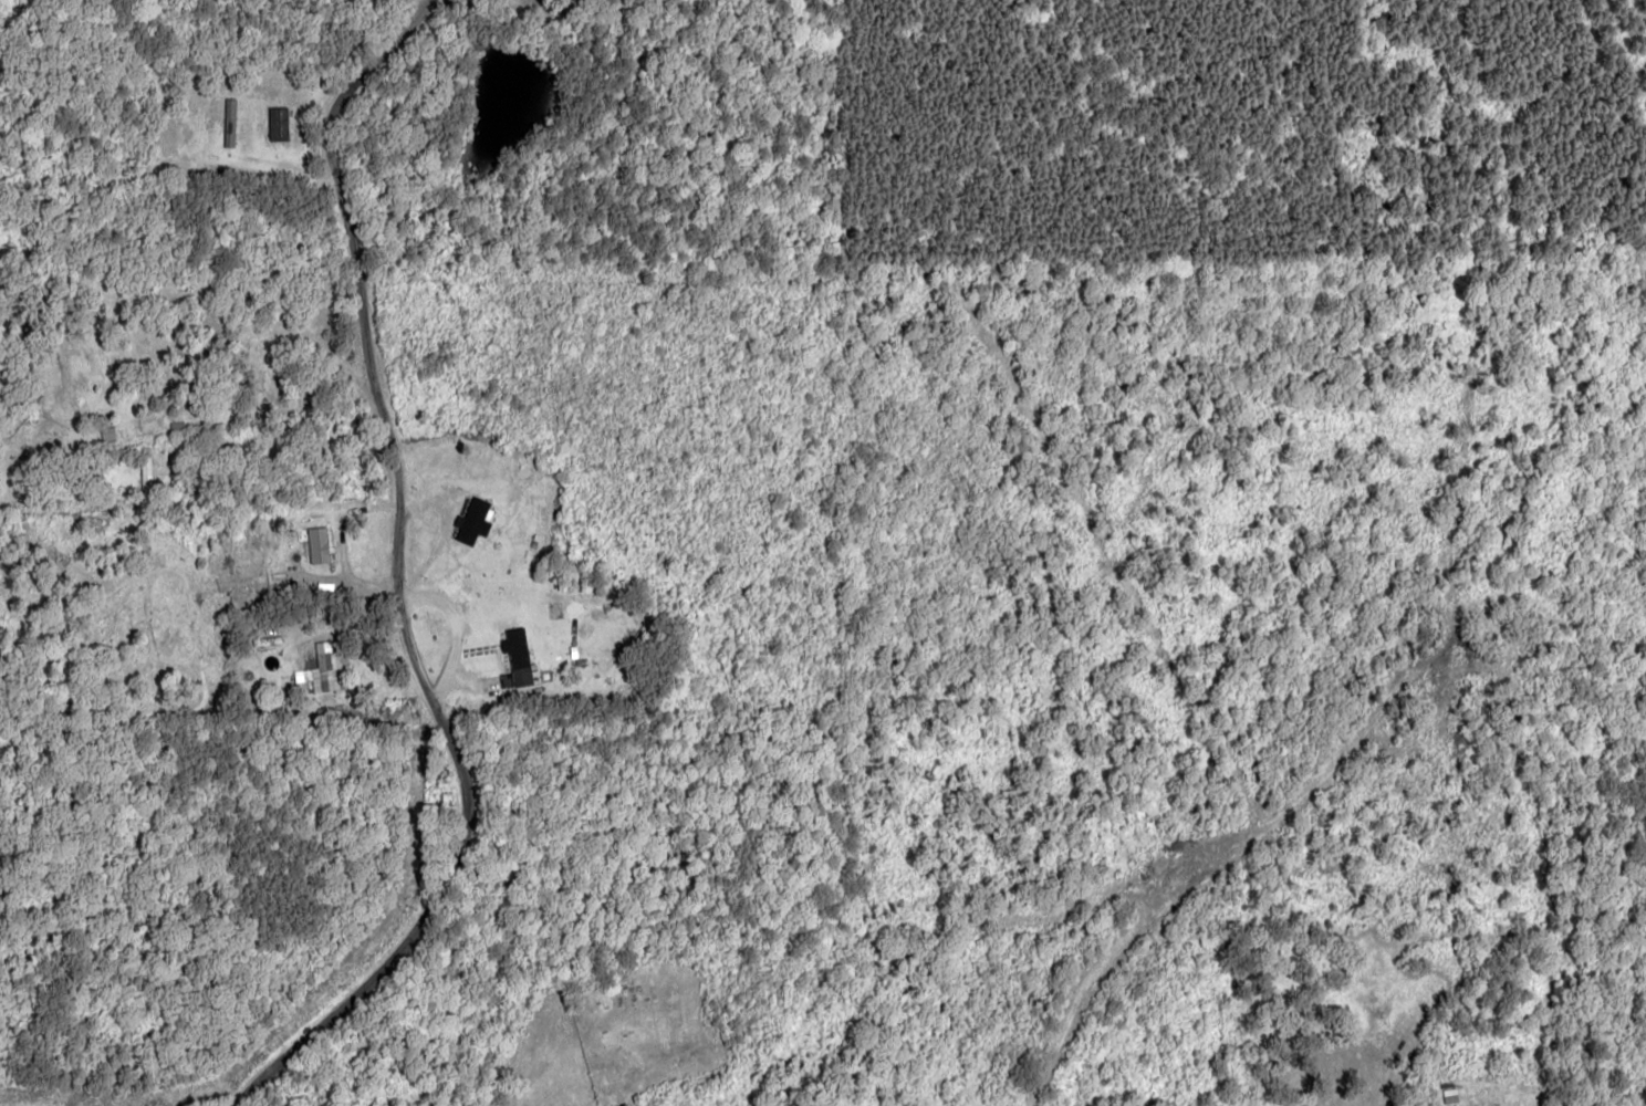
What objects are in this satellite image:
building: (277, 123)
building: (471, 519)
building: (315, 544)
road: (363, 570)
building: (517, 660)
building: (324, 668)

